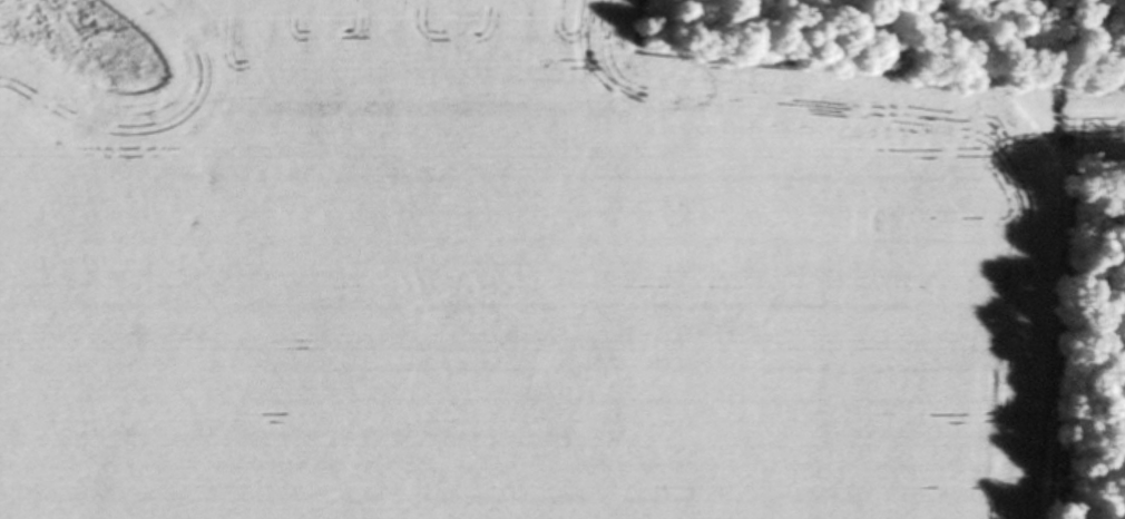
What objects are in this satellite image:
crop: (526, 270)

